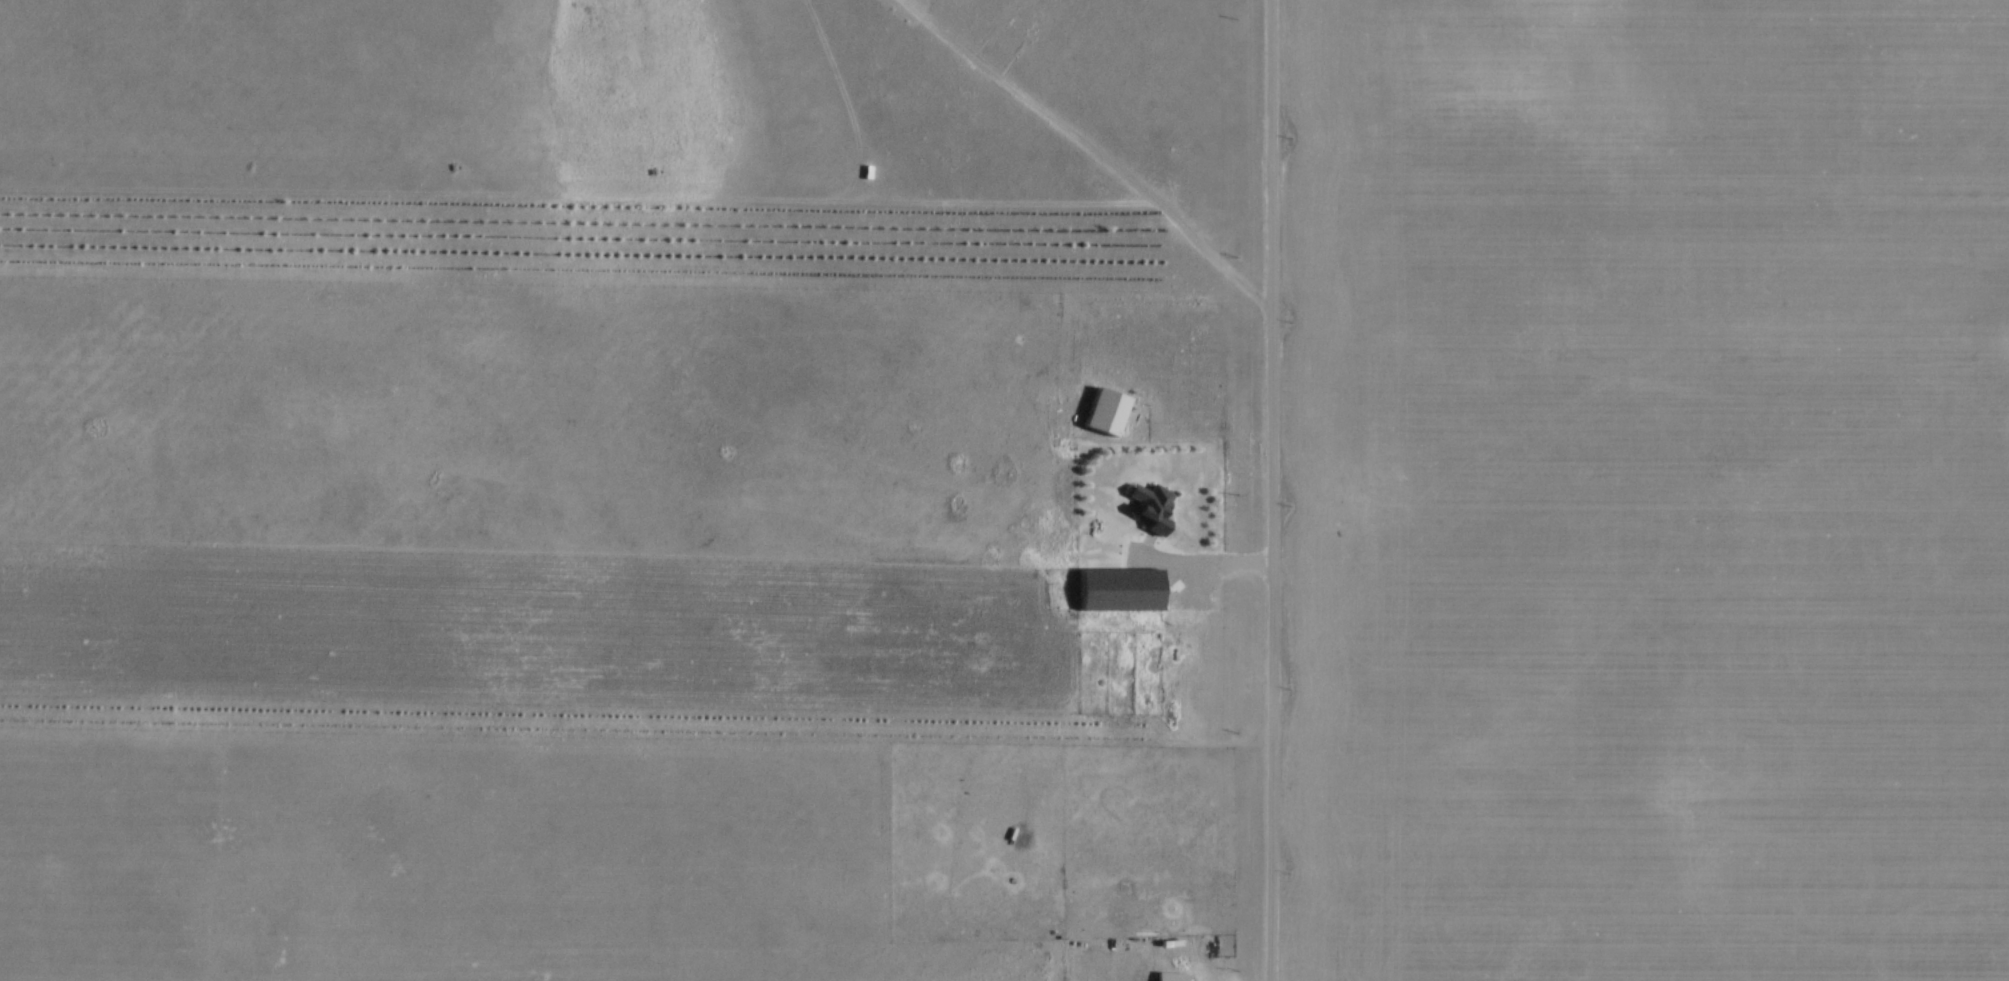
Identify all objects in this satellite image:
road: (1094, 150)
road: (1272, 490)
building: (1156, 508)
road: (1193, 554)
building: (1122, 588)
crop: (604, 855)

